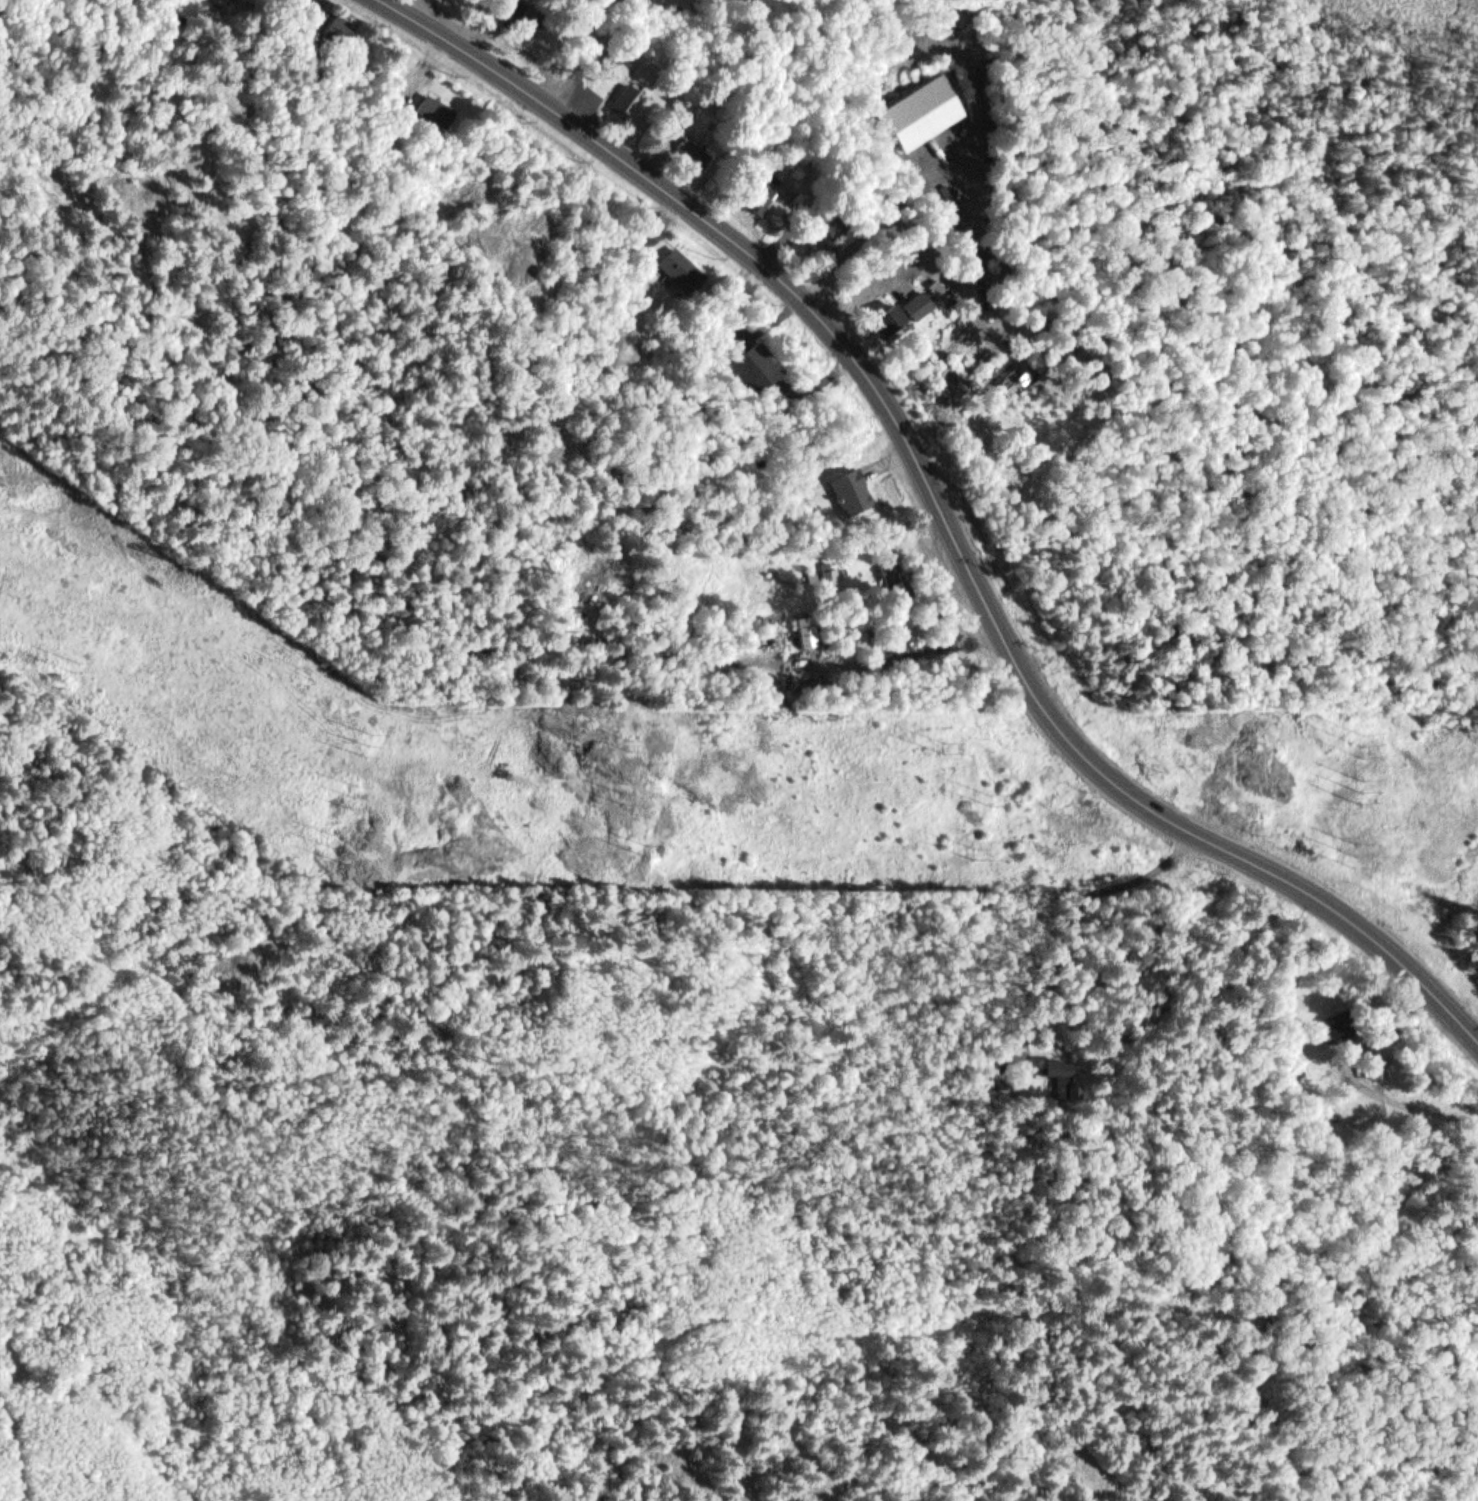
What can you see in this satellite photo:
building: (523, 17)
building: (344, 28)
building: (629, 93)
building: (923, 106)
building: (439, 112)
building: (692, 147)
building: (762, 194)
building: (649, 226)
building: (680, 261)
building: (937, 280)
building: (919, 297)
building: (887, 315)
building: (754, 362)
building: (1009, 380)
building: (850, 485)
building: (876, 503)
road: (939, 503)
building: (894, 576)
building: (808, 625)
power tower: (83, 666)
power tower: (376, 741)
power tower: (634, 743)
power tower: (1369, 744)
power tower: (951, 745)
power tower: (1365, 792)
power tower: (359, 795)
power tower: (628, 797)
power tower: (994, 799)
power tower: (342, 846)
power tower: (652, 850)
power tower: (976, 852)
power tower: (1361, 853)
building: (1344, 1018)
building: (1378, 1057)
building: (1063, 1070)
building: (1027, 1078)

